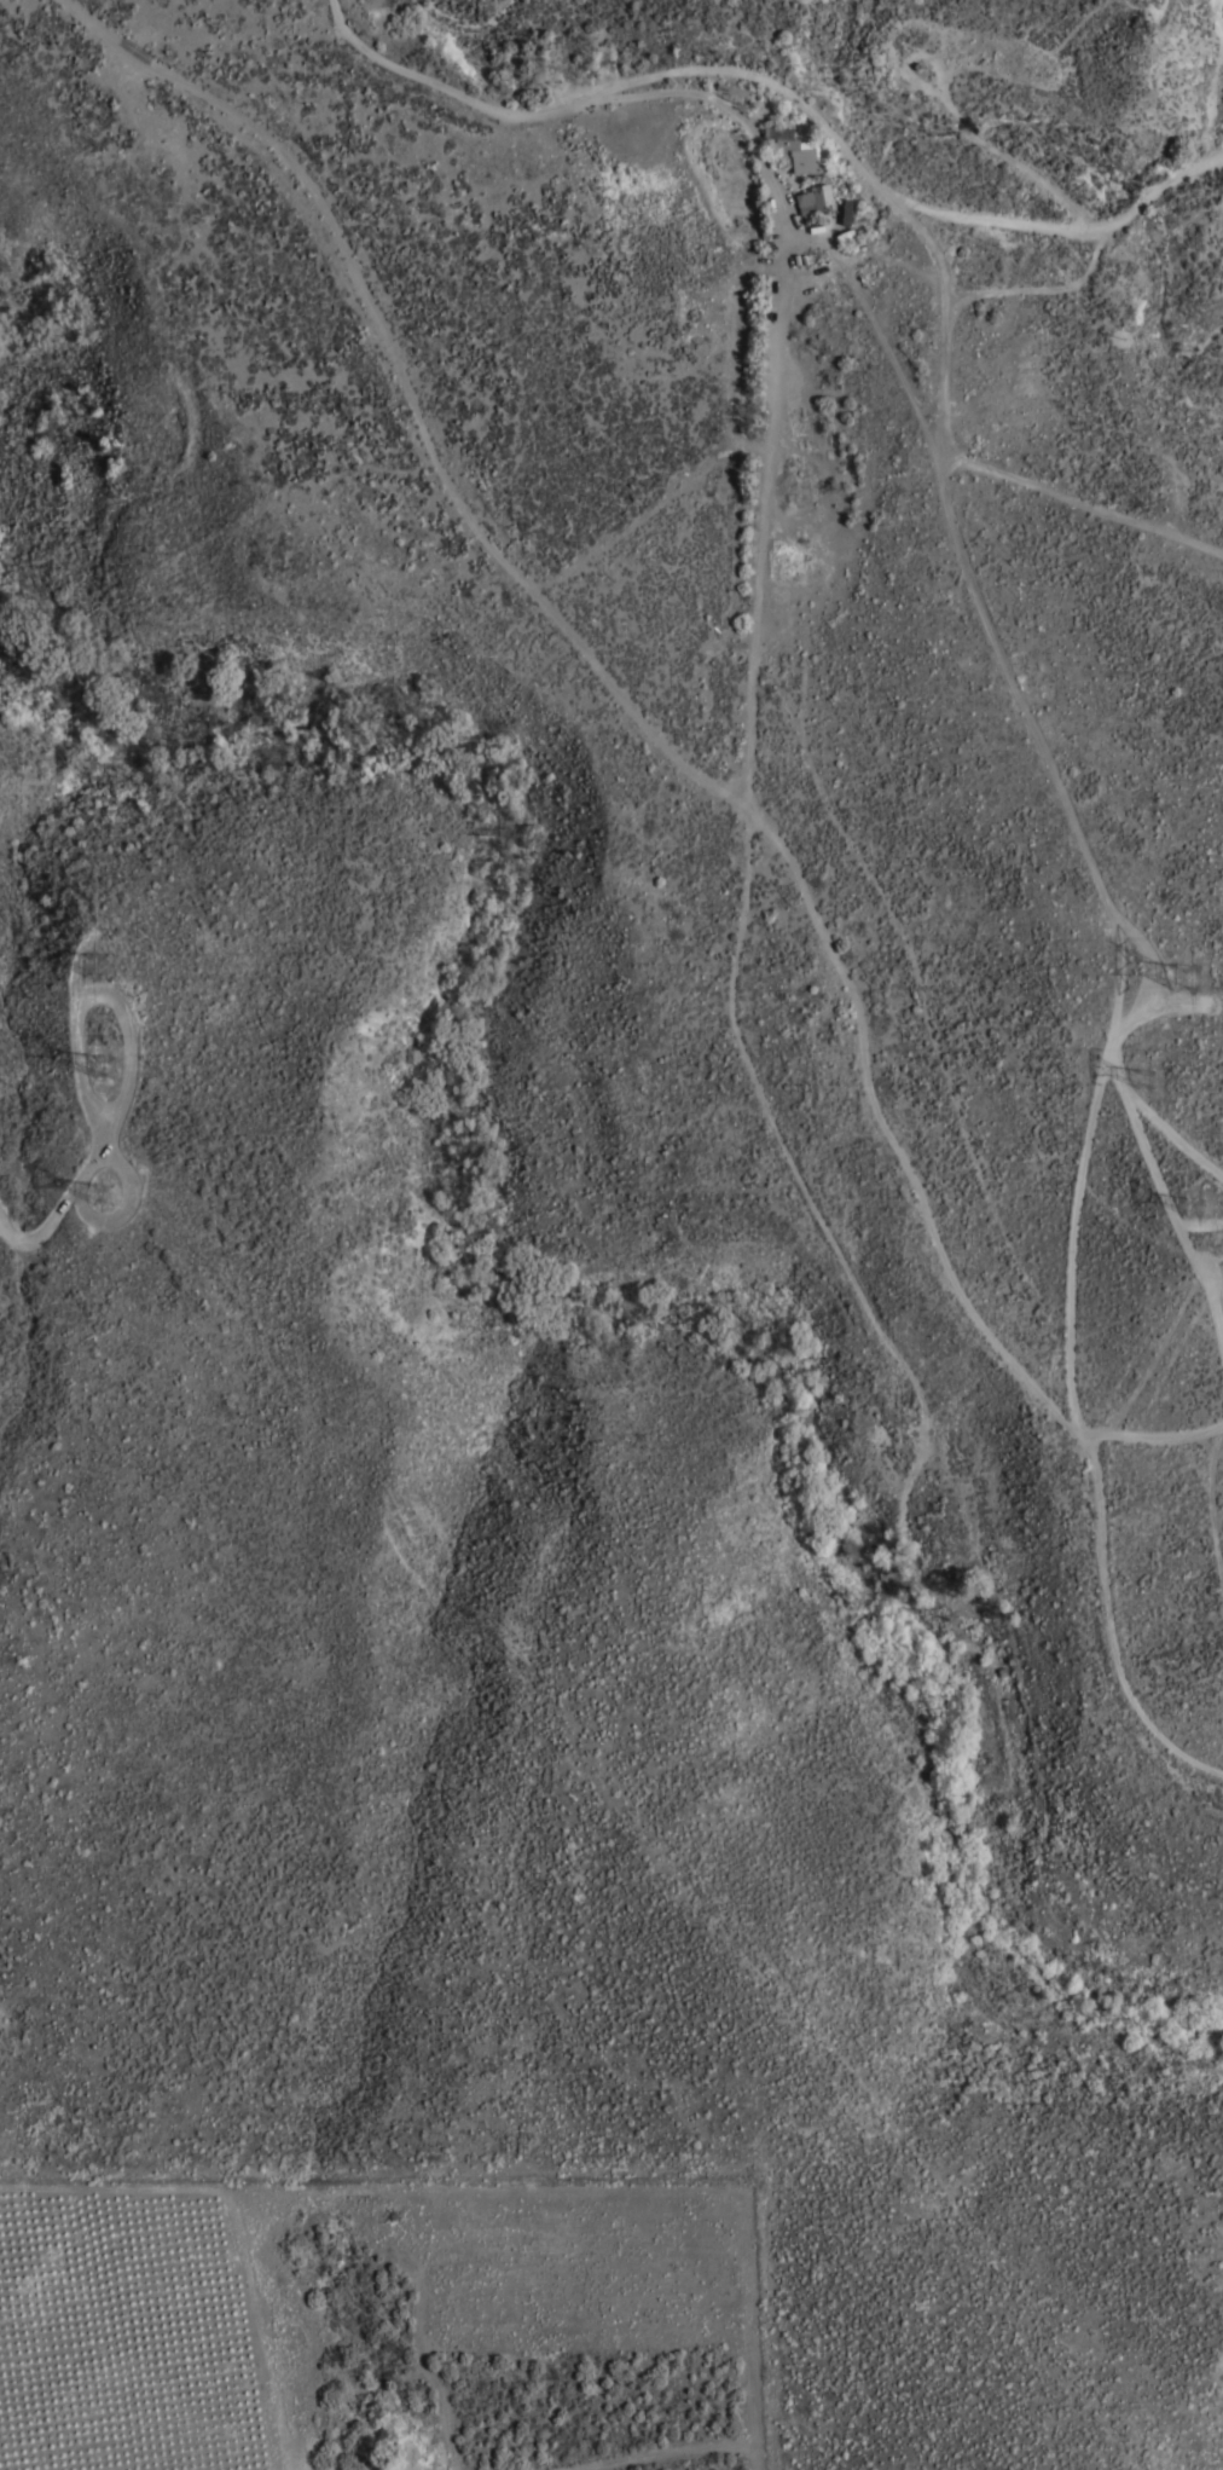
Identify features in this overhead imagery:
road: (427, 76)
building: (732, 91)
building: (794, 151)
road: (889, 195)
building: (815, 201)
road: (1083, 503)
road: (668, 750)
power tower: (99, 965)
power tower: (1192, 981)
road: (1115, 993)
power tower: (105, 1070)
power tower: (1154, 1081)
road: (887, 1121)
power tower: (104, 1193)
power tower: (1200, 1211)
road: (58, 1213)
road: (1152, 1440)
crop: (135, 2336)

